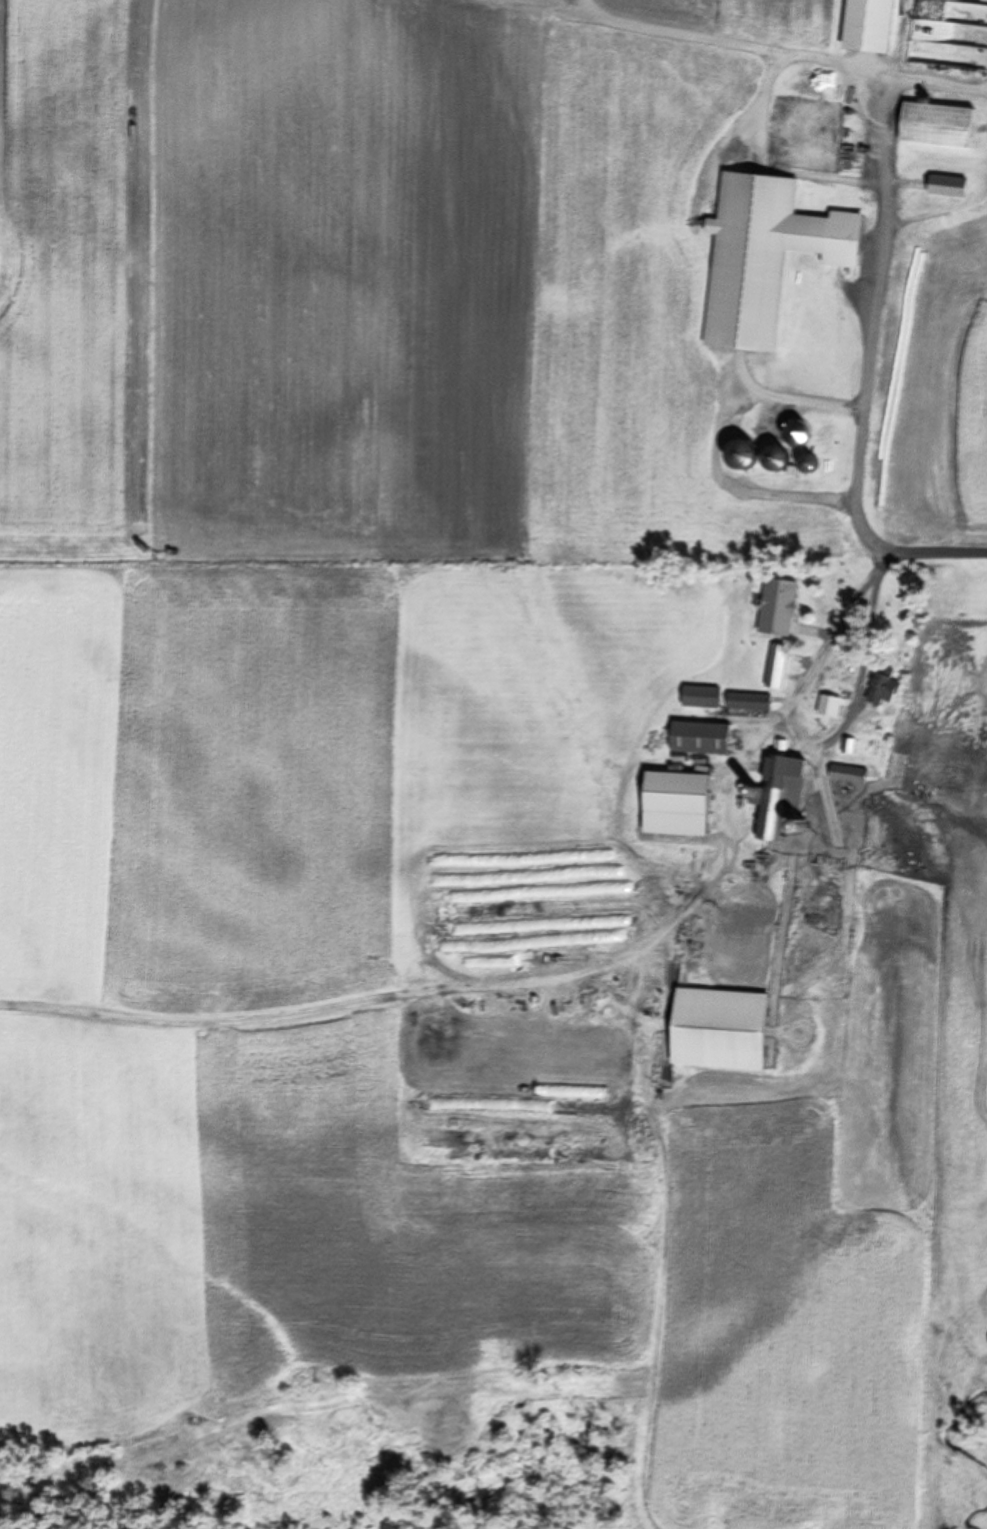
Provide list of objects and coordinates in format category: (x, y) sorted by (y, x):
building: (864, 27)
road: (879, 105)
building: (932, 127)
building: (942, 189)
road: (936, 212)
building: (763, 258)
road: (866, 382)
road: (762, 394)
building: (732, 457)
building: (766, 460)
building: (800, 465)
road: (746, 491)
road: (923, 554)
building: (777, 611)
building: (772, 669)
building: (878, 689)
road: (858, 692)
building: (695, 700)
building: (743, 704)
building: (824, 709)
building: (695, 741)
building: (844, 750)
building: (842, 777)
building: (773, 801)
building: (677, 805)
road: (564, 978)
building: (714, 1030)

